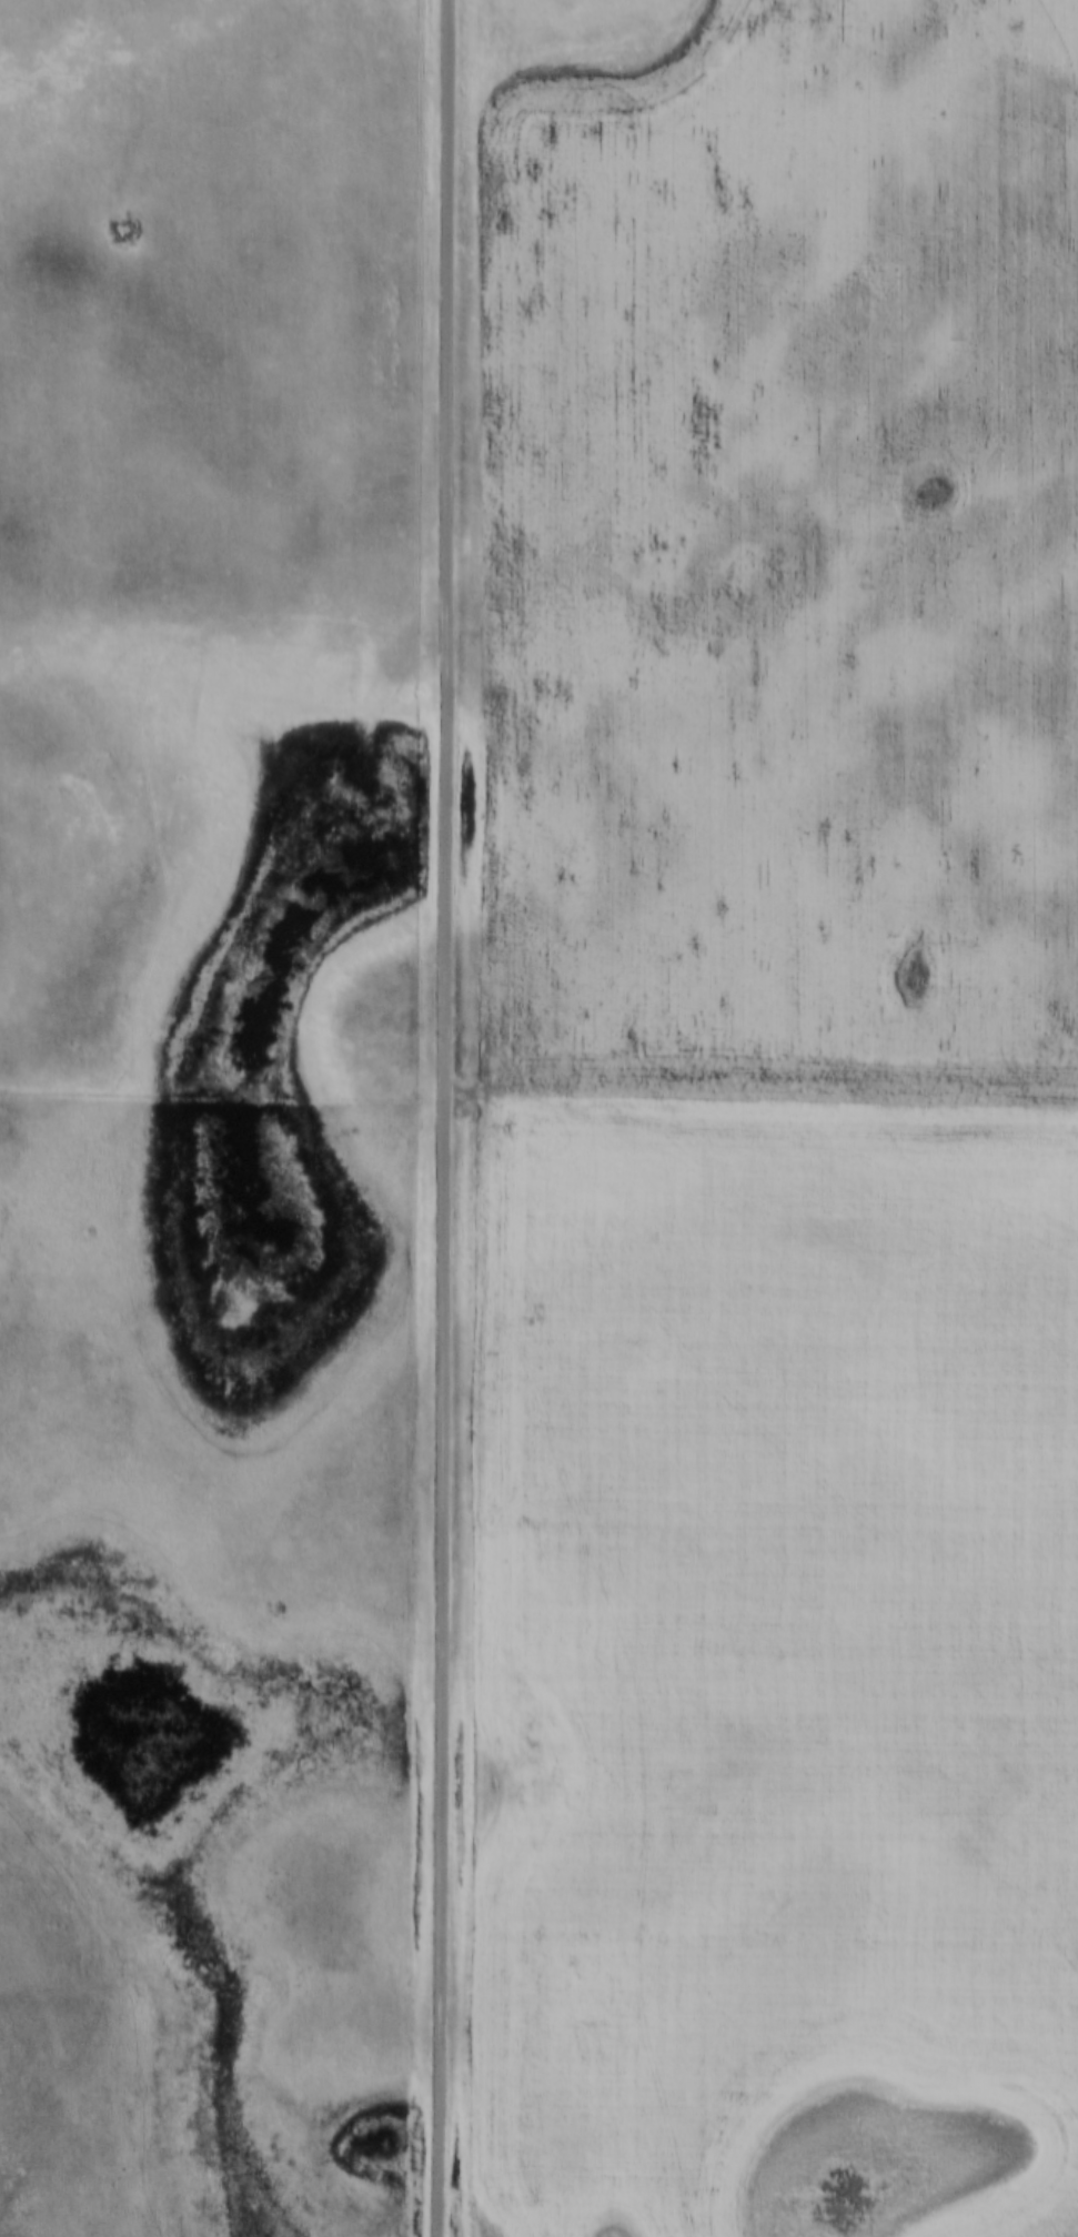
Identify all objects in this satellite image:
road: (443, 1118)

